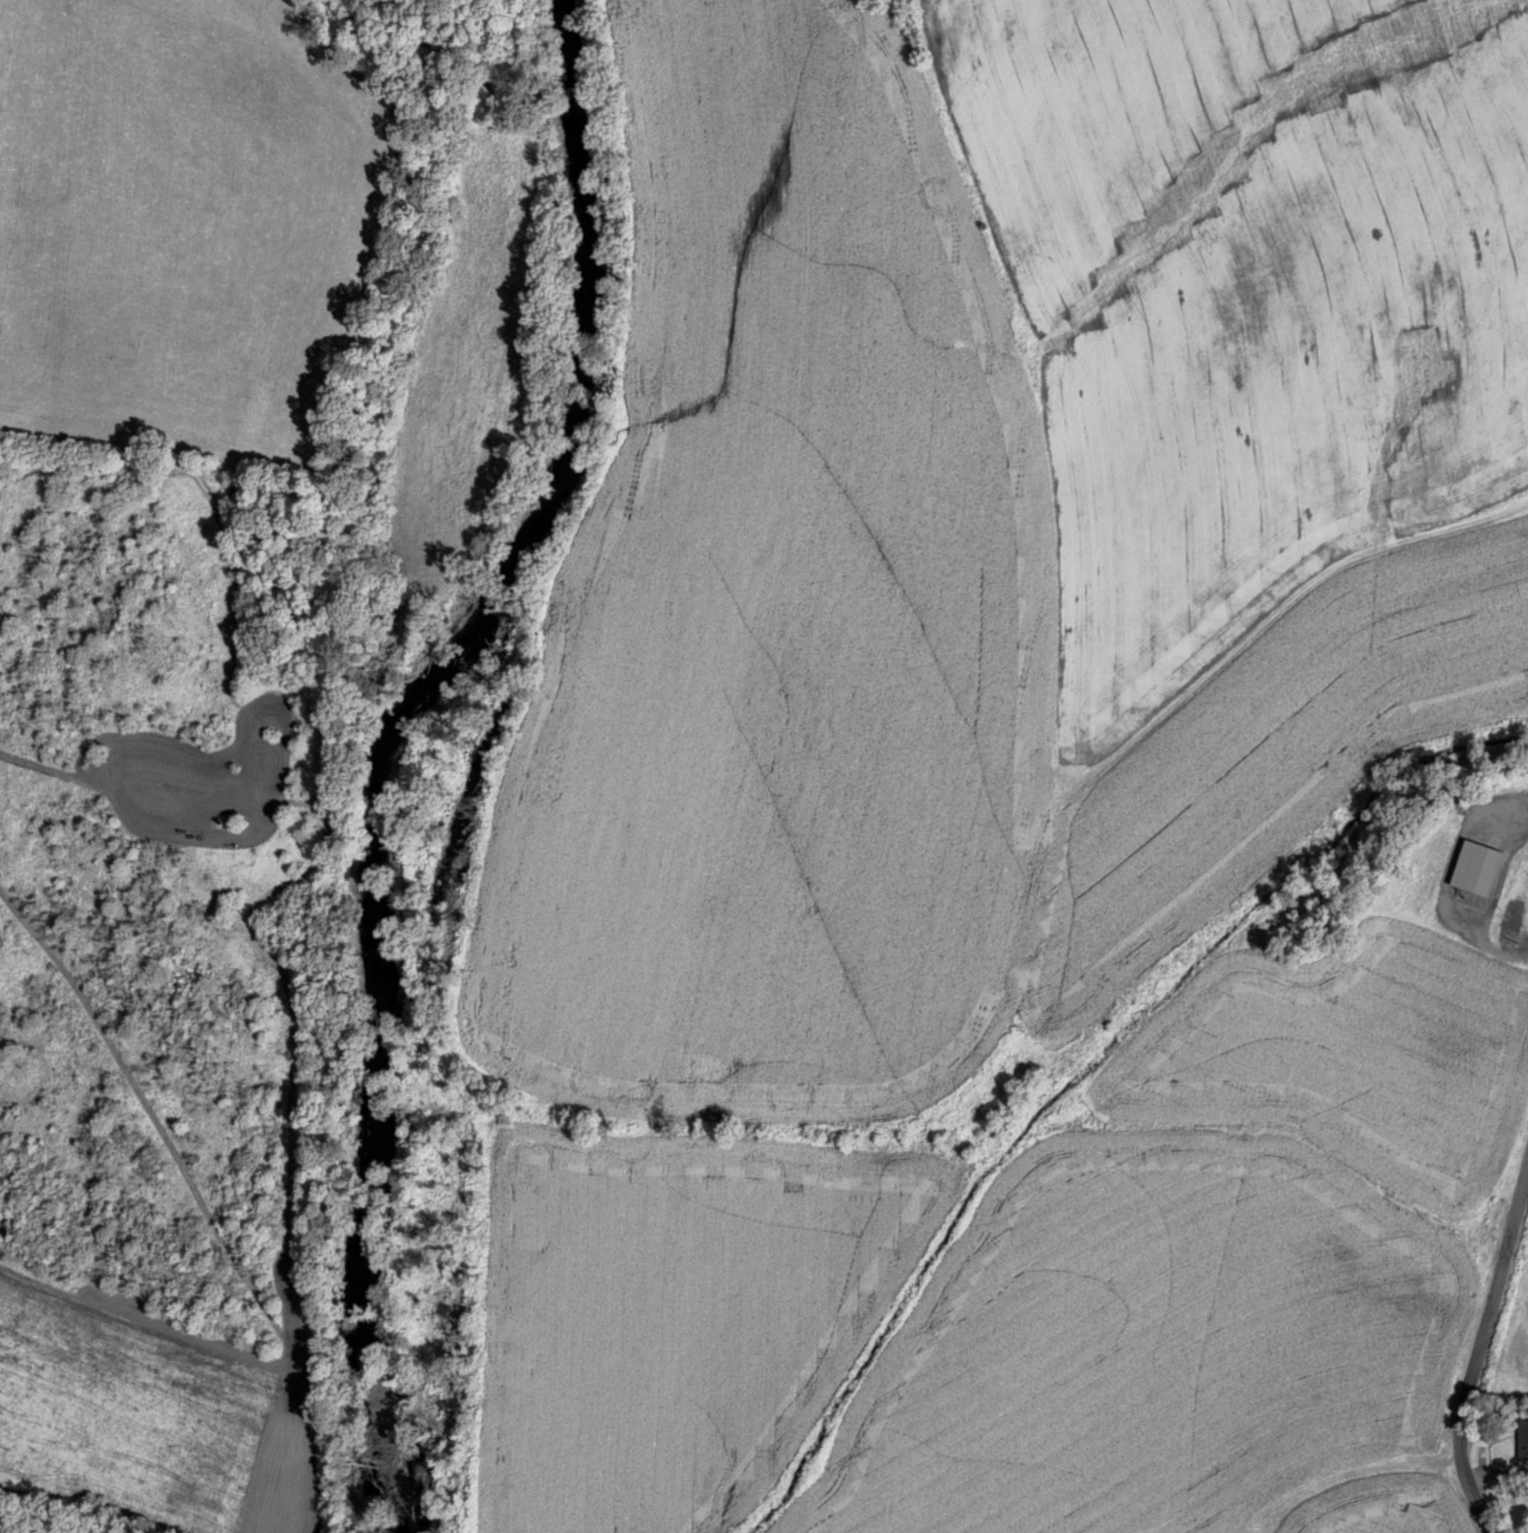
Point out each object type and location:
river: (393, 741)
building: (1473, 867)
building: (1526, 911)
road: (1482, 1370)
building: (1522, 1438)

